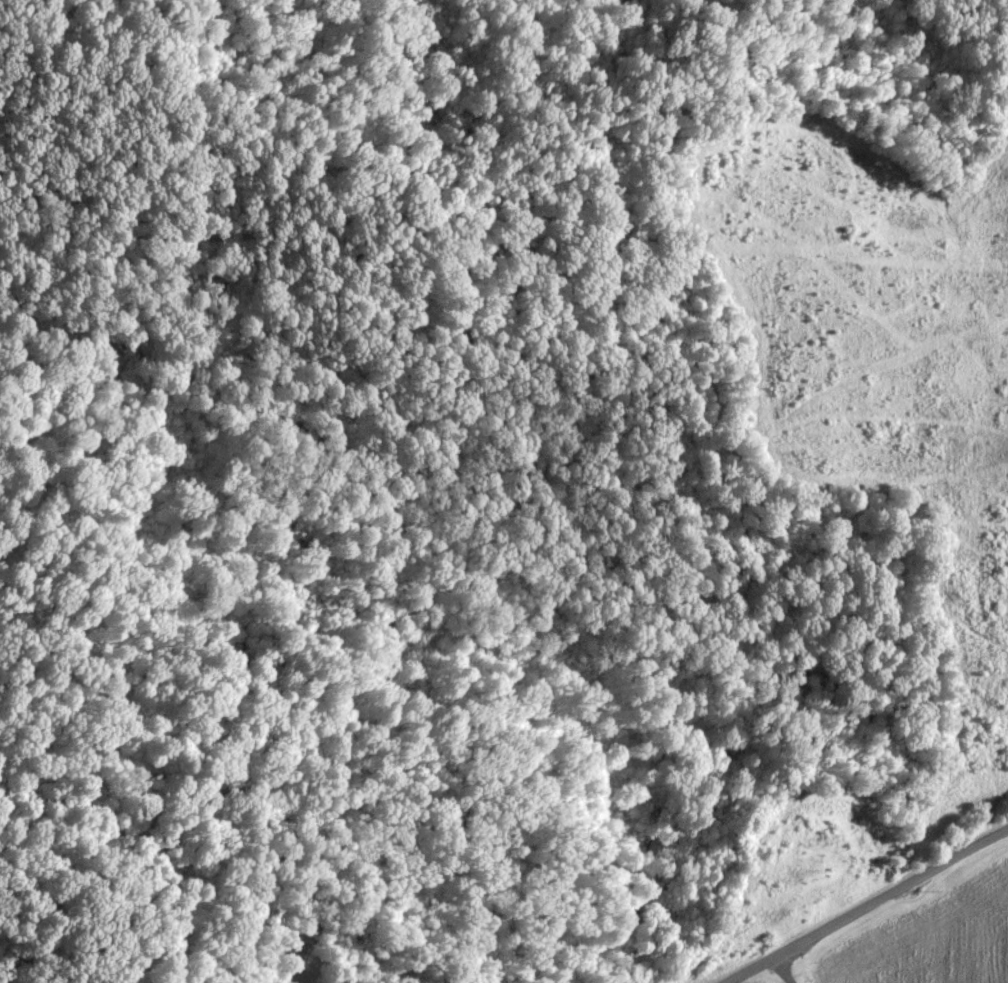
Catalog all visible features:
road: (864, 904)

